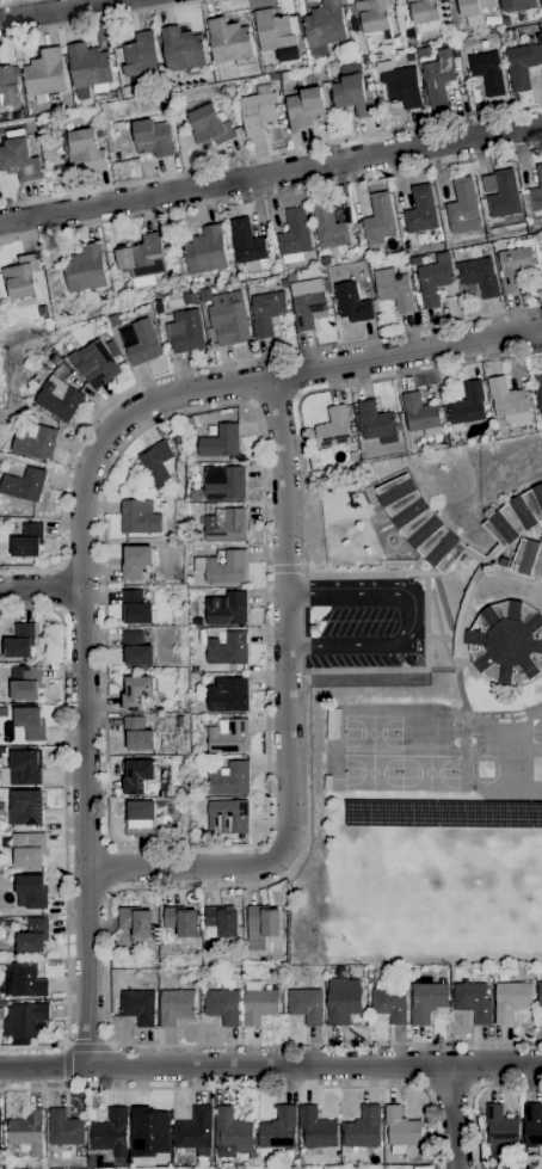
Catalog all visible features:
road: (11, 1)
road: (187, 1)
building: (517, 5)
road: (127, 6)
building: (473, 6)
road: (58, 10)
building: (374, 14)
building: (425, 16)
road: (100, 18)
building: (504, 21)
building: (353, 24)
building: (324, 26)
building: (541, 29)
building: (273, 30)
building: (229, 41)
building: (395, 42)
building: (484, 43)
building: (183, 49)
building: (425, 51)
building: (141, 54)
building: (456, 63)
building: (90, 64)
building: (522, 64)
building: (487, 72)
building: (45, 73)
building: (283, 75)
building: (273, 76)
building: (437, 78)
building: (400, 84)
building: (8, 86)
building: (353, 91)
building: (304, 107)
building: (258, 112)
building: (209, 125)
building: (153, 137)
building: (82, 148)
road: (270, 153)
building: (19, 160)
road: (271, 173)
building: (536, 191)
road: (271, 193)
building: (504, 195)
building: (463, 207)
building: (421, 210)
building: (380, 219)
building: (328, 226)
building: (295, 235)
building: (247, 244)
building: (541, 247)
building: (205, 250)
building: (142, 259)
building: (325, 259)
building: (424, 259)
building: (312, 263)
building: (515, 267)
building: (85, 269)
building: (479, 276)
building: (21, 277)
building: (433, 279)
building: (283, 282)
building: (394, 289)
building: (307, 302)
building: (351, 302)
building: (43, 310)
building: (266, 312)
building: (228, 318)
building: (113, 319)
building: (6, 321)
building: (187, 331)
building: (140, 340)
building: (112, 349)
building: (55, 358)
building: (97, 363)
road: (208, 368)
building: (538, 396)
building: (60, 398)
road: (273, 400)
building: (509, 401)
building: (467, 405)
building: (421, 414)
building: (537, 417)
building: (376, 422)
building: (333, 427)
building: (177, 439)
building: (35, 441)
building: (220, 441)
building: (325, 451)
building: (355, 455)
building: (159, 462)
building: (223, 481)
building: (25, 484)
building: (197, 493)
building: (140, 516)
building: (516, 516)
road: (81, 522)
building: (419, 523)
building: (224, 524)
building: (195, 536)
building: (27, 540)
building: (529, 558)
building: (136, 560)
building: (505, 562)
building: (223, 566)
road: (383, 583)
road: (41, 587)
road: (58, 587)
building: (135, 607)
building: (226, 608)
road: (402, 617)
parking lot: (365, 622)
building: (20, 640)
building: (506, 641)
building: (136, 648)
building: (228, 648)
building: (193, 676)
building: (25, 682)
building: (137, 691)
building: (228, 695)
building: (5, 712)
road: (287, 713)
building: (180, 720)
building: (30, 722)
building: (333, 724)
building: (137, 733)
building: (228, 736)
building: (23, 768)
building: (138, 775)
building: (228, 777)
building: (327, 782)
building: (26, 807)
building: (1, 808)
building: (228, 816)
building: (140, 817)
road: (64, 829)
road: (123, 845)
building: (29, 848)
road: (111, 867)
road: (273, 878)
building: (31, 891)
building: (136, 921)
building: (181, 921)
building: (222, 921)
building: (263, 925)
building: (32, 935)
building: (540, 968)
building: (355, 971)
building: (503, 976)
building: (235, 978)
building: (23, 979)
building: (540, 993)
building: (344, 999)
building: (427, 999)
building: (512, 999)
building: (473, 1001)
building: (259, 1002)
building: (390, 1003)
building: (2, 1004)
building: (306, 1004)
building: (137, 1005)
building: (175, 1005)
building: (222, 1005)
building: (24, 1019)
road: (88, 1046)
road: (68, 1064)
road: (271, 1066)
road: (252, 1087)
road: (448, 1089)
road: (473, 1094)
road: (451, 1116)
building: (532, 1122)
building: (501, 1125)
building: (0, 1126)
building: (318, 1127)
building: (363, 1127)
building: (66, 1128)
building: (279, 1128)
building: (401, 1130)
building: (29, 1131)
building: (149, 1131)
building: (195, 1131)
building: (232, 1133)
building: (110, 1134)
building: (93, 1161)
building: (383, 1167)

